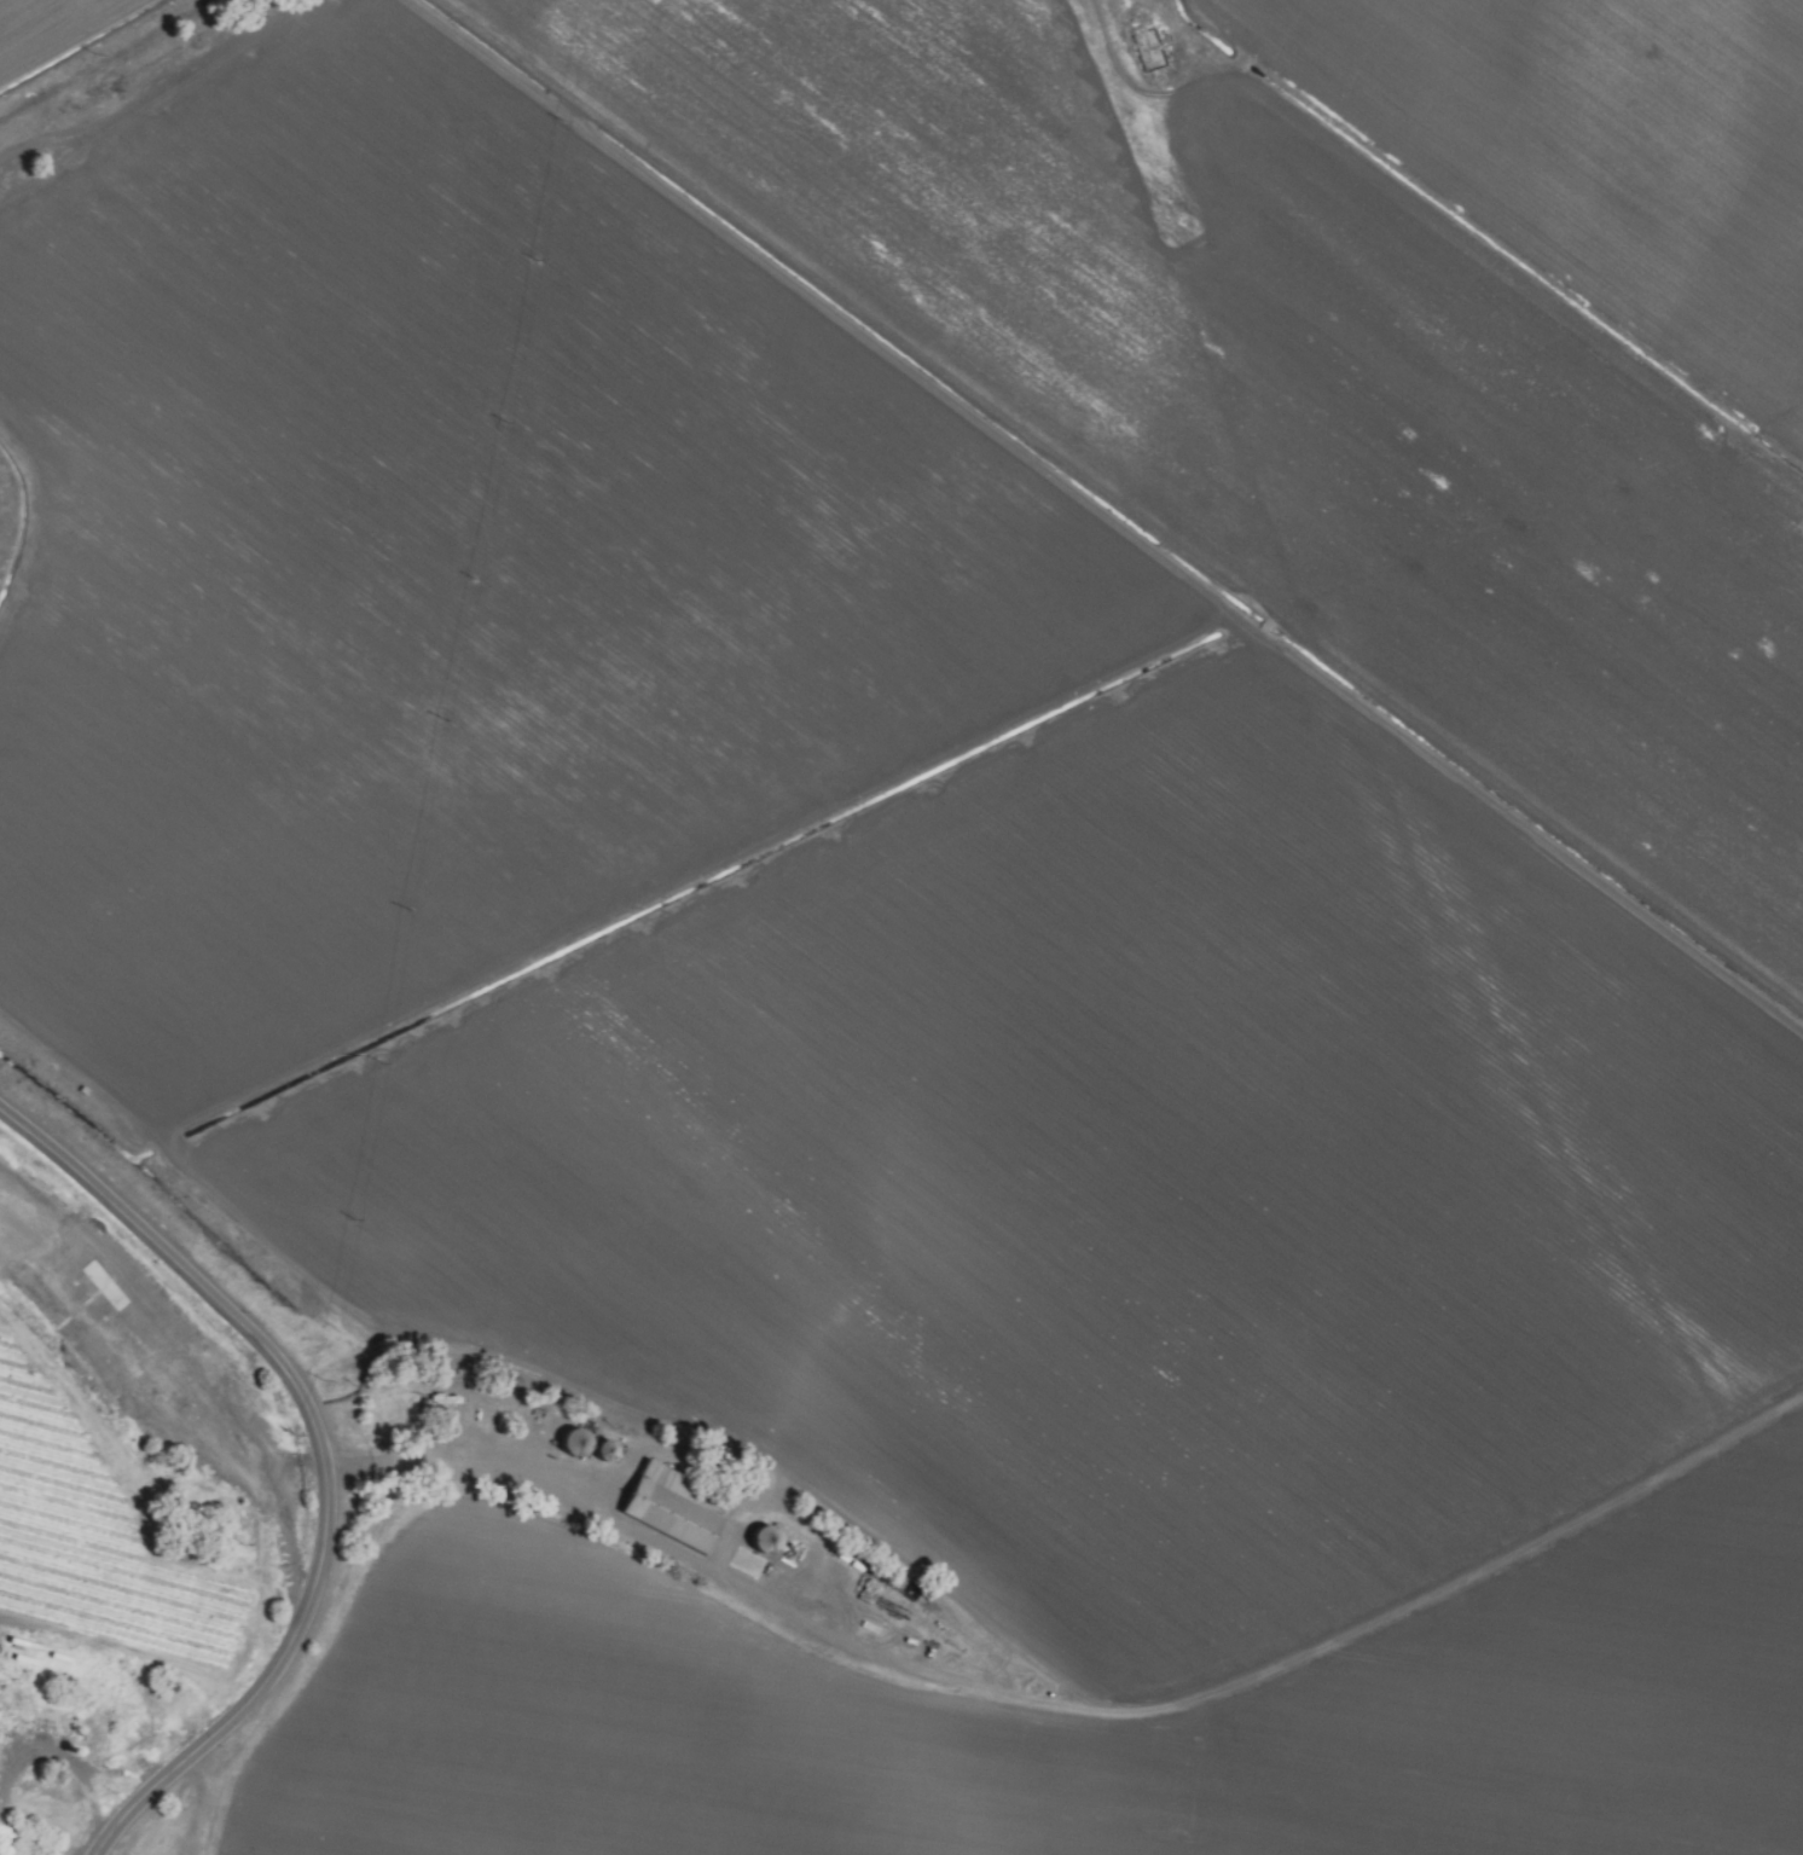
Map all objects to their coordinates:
road: (1201, 28)
road: (153, 98)
crop: (964, 871)
road: (320, 1457)
crop: (106, 1499)
building: (676, 1508)

